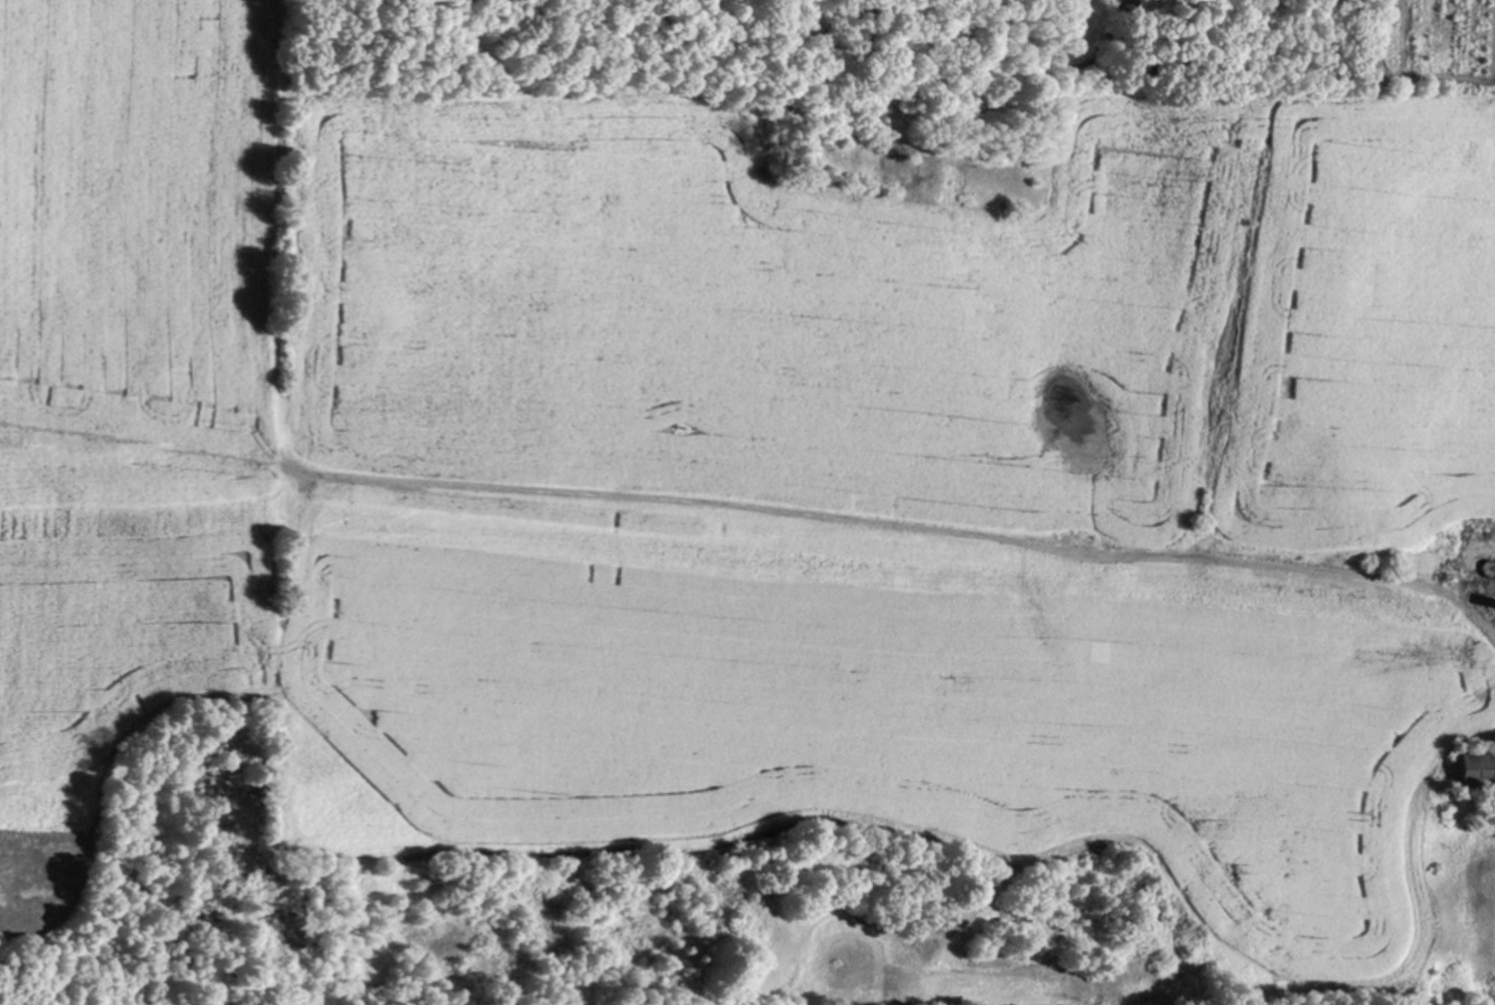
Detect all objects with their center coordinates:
building: (1476, 770)

